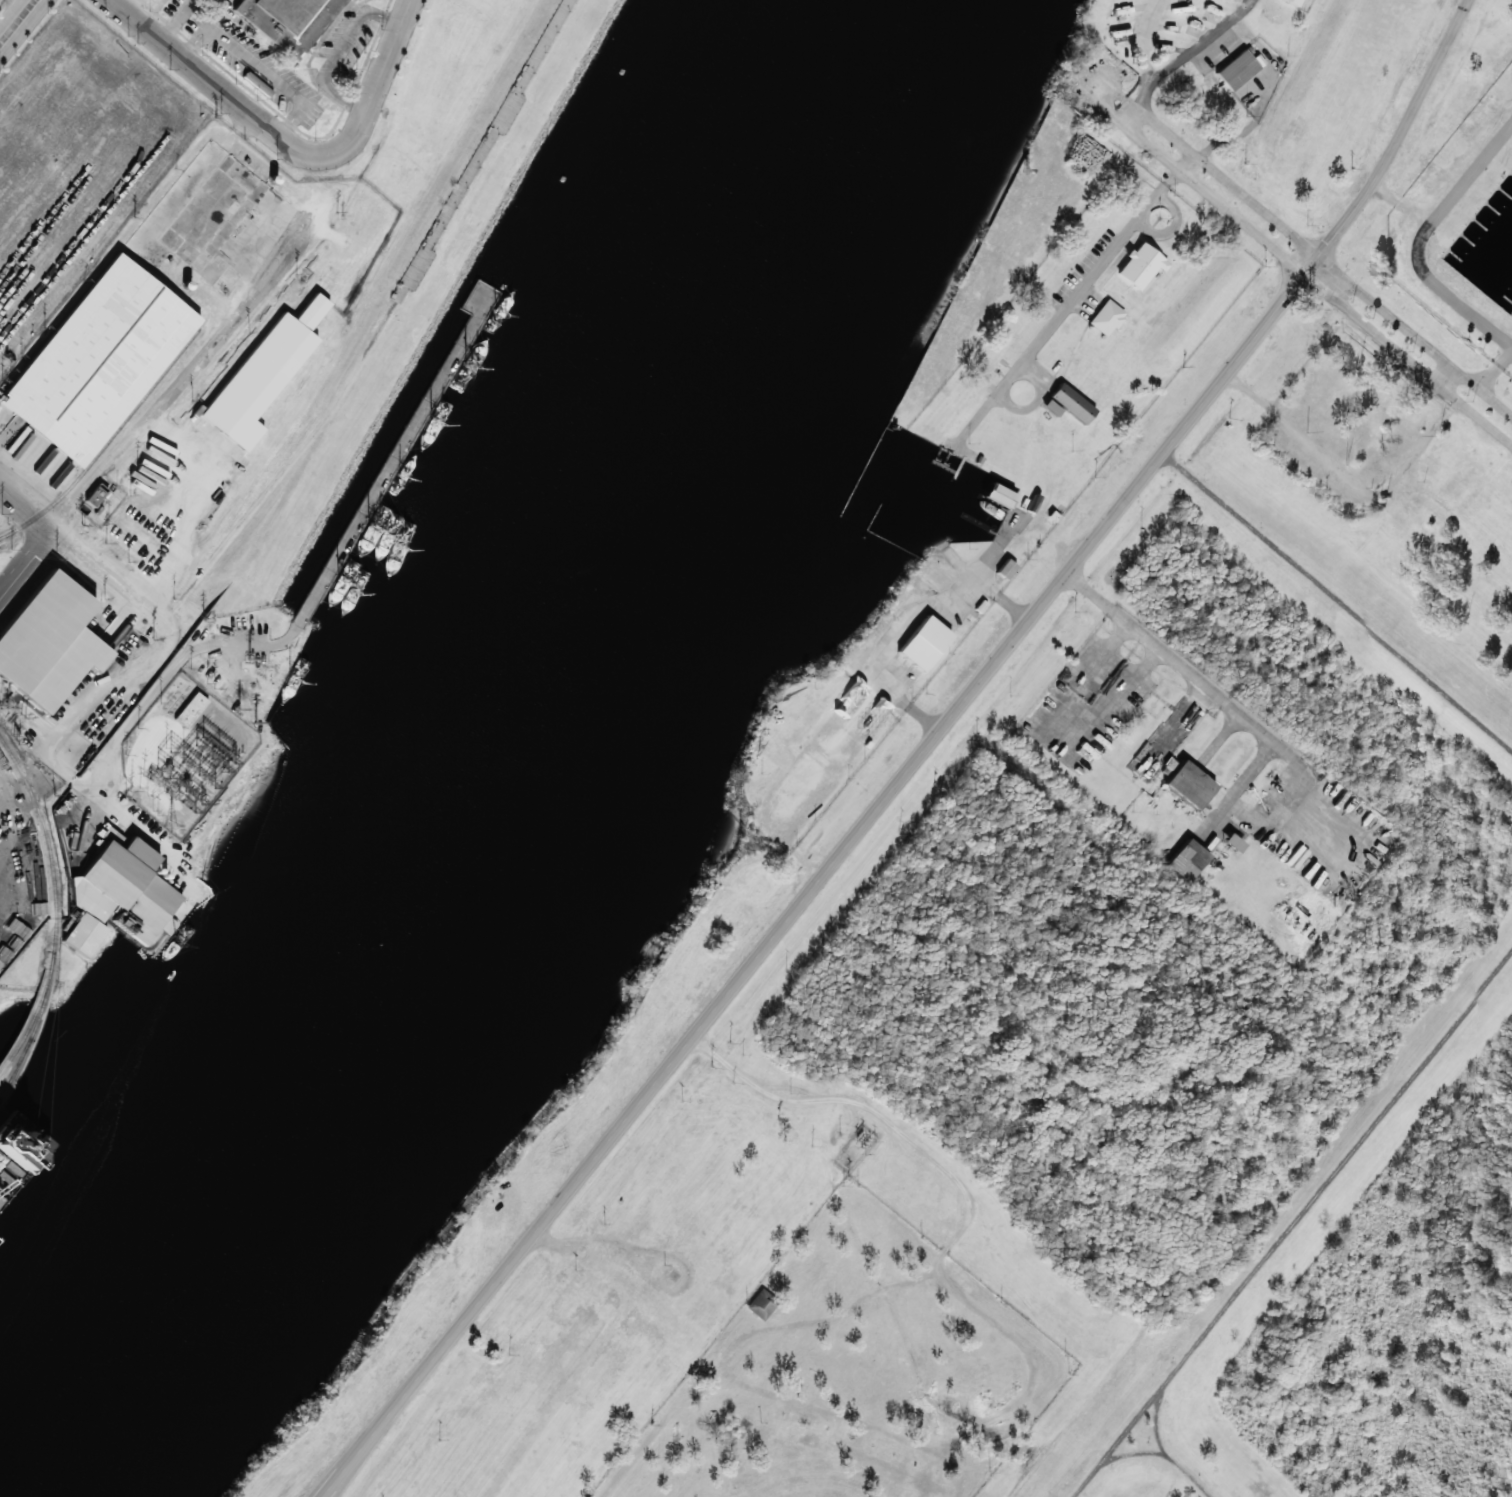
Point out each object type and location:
building: (337, 2)
building: (1293, 2)
road: (8, 10)
building: (277, 18)
road: (177, 20)
road: (23, 29)
road: (1212, 44)
road: (1155, 52)
road: (338, 53)
road: (258, 68)
building: (1238, 69)
road: (1097, 80)
road: (377, 81)
road: (217, 86)
road: (1405, 128)
building: (1139, 266)
building: (1106, 318)
road: (1491, 353)
building: (97, 362)
road: (196, 365)
building: (263, 375)
building: (1071, 403)
building: (1050, 408)
railway: (112, 436)
building: (95, 495)
road: (26, 505)
railway: (8, 535)
road: (26, 560)
building: (1005, 569)
road: (115, 576)
road: (1337, 602)
building: (48, 643)
building: (923, 643)
building: (849, 700)
building: (190, 710)
building: (873, 718)
building: (1185, 783)
railway: (50, 852)
building: (1187, 860)
road: (824, 873)
building: (117, 895)
railway: (51, 962)
railway: (29, 1025)
railway: (30, 1036)
railway: (13, 1065)
road: (1291, 1227)
building: (761, 1305)

